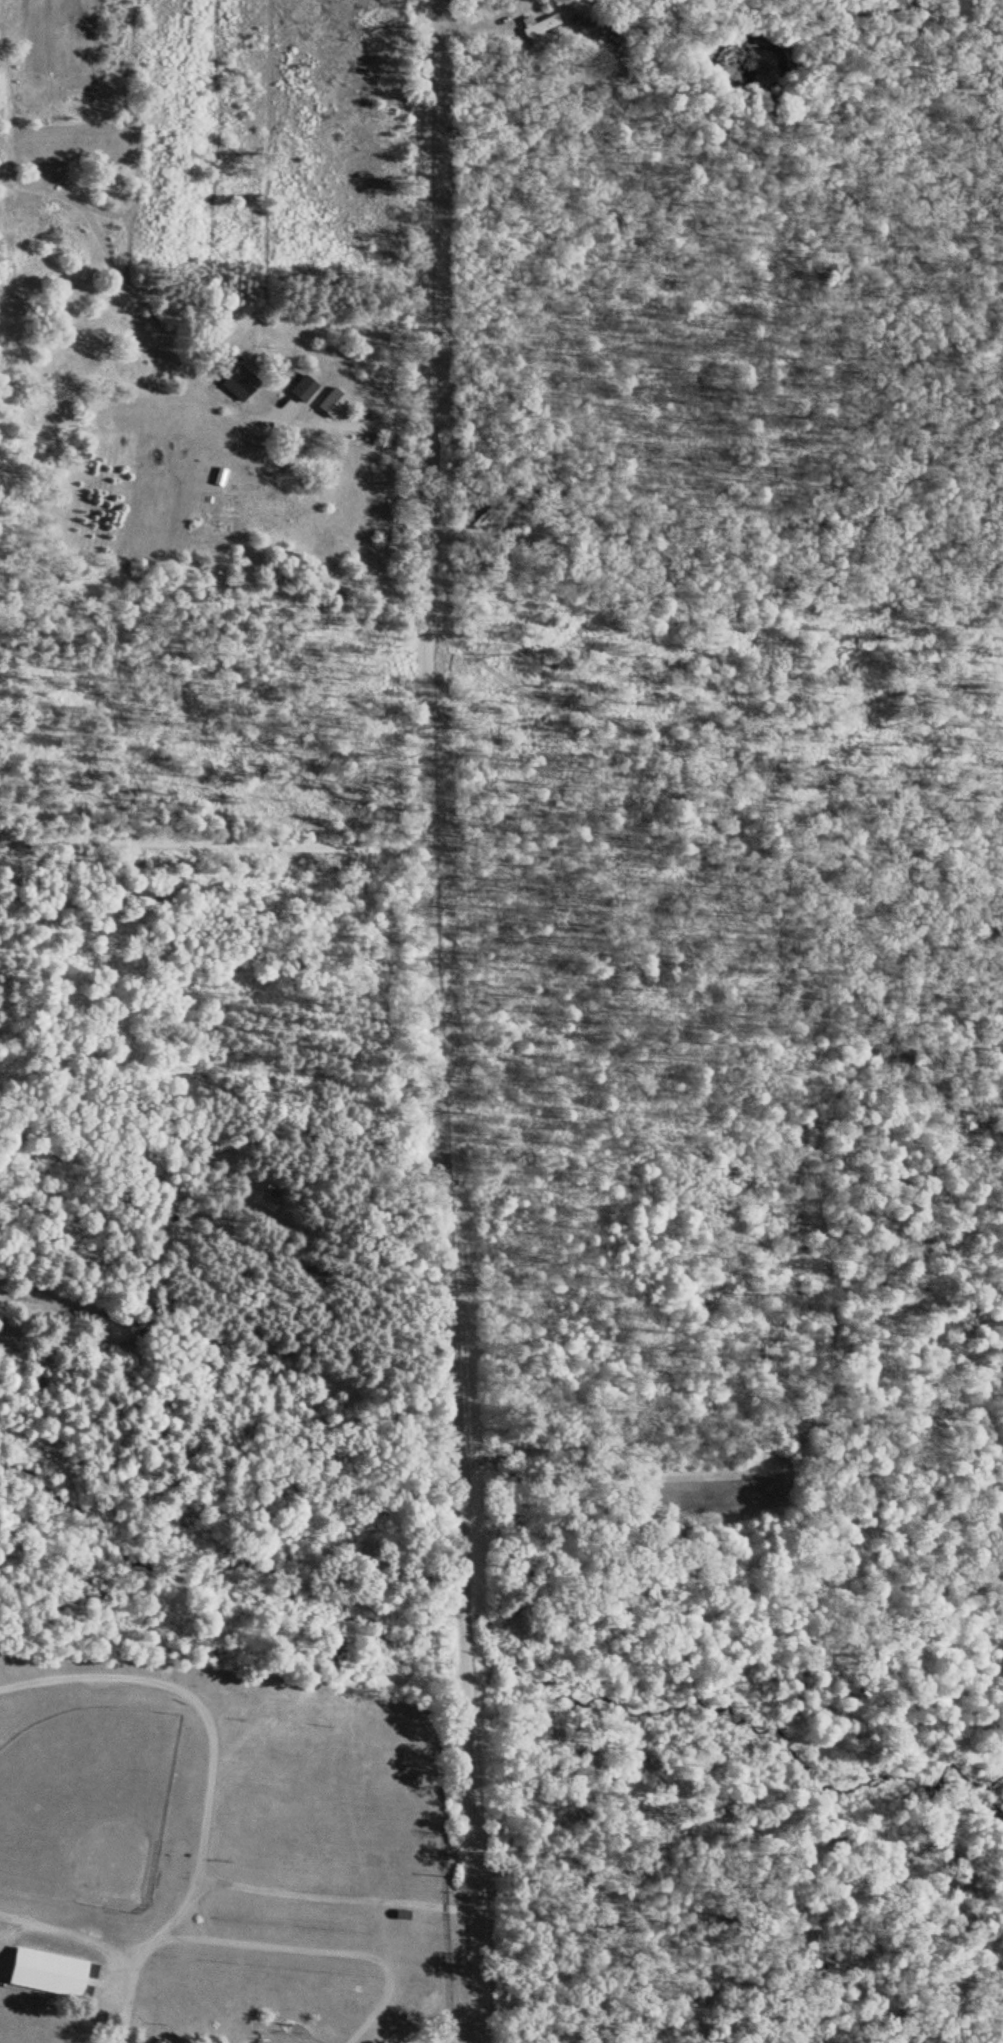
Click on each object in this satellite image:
building: (538, 25)
building: (238, 380)
building: (303, 386)
building: (480, 517)
road: (213, 840)
road: (435, 1021)
road: (188, 1691)
park: (87, 1802)
park: (215, 1859)
road: (298, 1892)
building: (401, 1916)
road: (196, 1919)
road: (68, 1931)
road: (261, 1940)
road: (429, 1959)
building: (45, 1969)

